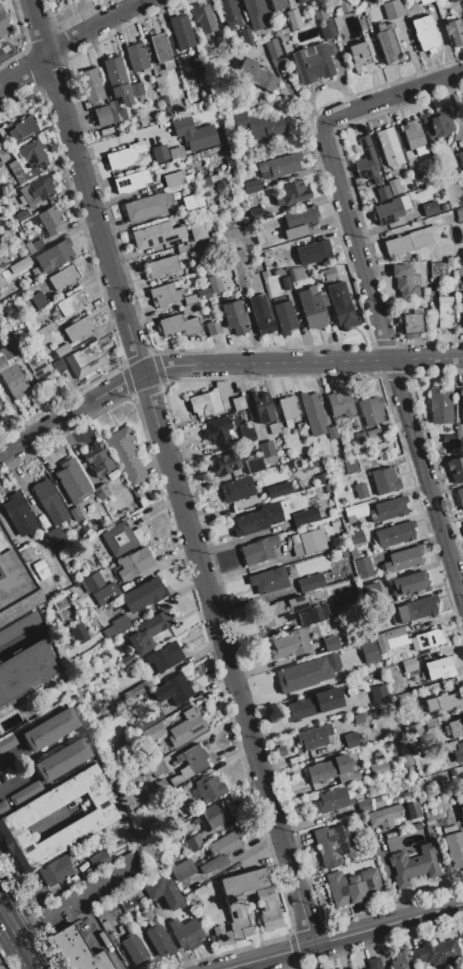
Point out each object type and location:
building: (57, 0)
building: (58, 0)
building: (322, 0)
building: (299, 1)
building: (424, 1)
building: (452, 1)
building: (367, 2)
building: (278, 4)
building: (291, 4)
building: (342, 6)
building: (392, 9)
building: (254, 13)
building: (229, 14)
building: (319, 14)
building: (202, 18)
building: (292, 18)
building: (268, 21)
building: (338, 22)
building: (3, 23)
building: (361, 24)
road: (96, 27)
building: (327, 30)
building: (453, 31)
building: (181, 32)
building: (425, 33)
building: (246, 36)
building: (0, 38)
building: (388, 43)
building: (160, 47)
building: (272, 47)
building: (286, 48)
building: (137, 57)
building: (360, 57)
building: (181, 61)
building: (313, 63)
building: (168, 64)
road: (24, 68)
building: (256, 75)
building: (117, 80)
building: (90, 85)
building: (160, 85)
building: (137, 89)
road: (394, 97)
building: (164, 99)
building: (263, 103)
building: (196, 106)
building: (116, 111)
building: (102, 115)
building: (437, 123)
building: (259, 125)
building: (23, 129)
building: (193, 134)
building: (414, 136)
building: (173, 143)
building: (389, 147)
building: (159, 153)
building: (2, 155)
building: (124, 155)
building: (32, 157)
building: (460, 157)
building: (367, 162)
building: (229, 164)
building: (279, 165)
building: (14, 167)
building: (418, 175)
building: (174, 178)
building: (130, 181)
building: (205, 182)
building: (252, 186)
building: (394, 186)
building: (222, 187)
building: (35, 190)
building: (290, 192)
building: (382, 192)
building: (193, 202)
building: (146, 206)
building: (429, 208)
building: (390, 209)
building: (255, 214)
building: (459, 214)
building: (19, 216)
building: (300, 217)
building: (50, 220)
building: (18, 228)
building: (198, 232)
building: (295, 232)
building: (152, 235)
building: (185, 235)
building: (423, 237)
building: (36, 243)
building: (200, 245)
building: (398, 245)
building: (28, 247)
building: (182, 249)
building: (314, 252)
building: (266, 253)
building: (54, 255)
building: (236, 256)
building: (2, 264)
building: (19, 265)
building: (162, 266)
building: (459, 269)
building: (438, 270)
building: (298, 273)
building: (328, 273)
building: (292, 275)
building: (63, 277)
building: (405, 282)
building: (214, 283)
building: (285, 283)
building: (312, 289)
building: (425, 291)
building: (165, 294)
building: (425, 298)
building: (190, 299)
building: (324, 299)
building: (38, 300)
building: (70, 303)
building: (341, 305)
building: (462, 306)
building: (311, 308)
building: (186, 309)
building: (444, 312)
building: (261, 314)
building: (233, 317)
building: (284, 317)
building: (412, 320)
building: (178, 325)
building: (213, 327)
building: (78, 329)
building: (45, 330)
building: (13, 344)
building: (59, 351)
building: (86, 359)
road: (392, 361)
building: (58, 365)
road: (220, 365)
building: (39, 370)
building: (11, 374)
building: (460, 392)
building: (0, 402)
building: (208, 402)
building: (238, 403)
building: (339, 404)
building: (462, 404)
building: (439, 405)
building: (0, 407)
building: (262, 407)
building: (288, 408)
building: (371, 410)
building: (313, 413)
building: (274, 428)
building: (216, 429)
building: (373, 432)
building: (332, 433)
building: (246, 434)
building: (361, 438)
building: (447, 438)
building: (266, 449)
building: (126, 455)
building: (98, 459)
building: (225, 463)
building: (254, 464)
building: (351, 466)
building: (456, 469)
road: (172, 472)
building: (321, 478)
building: (72, 480)
building: (385, 480)
building: (237, 489)
building: (327, 489)
building: (279, 490)
building: (360, 490)
building: (101, 491)
building: (138, 496)
building: (460, 496)
building: (50, 502)
building: (388, 509)
building: (355, 512)
building: (19, 514)
building: (75, 515)
building: (305, 516)
building: (261, 518)
building: (335, 522)
building: (462, 523)
building: (395, 534)
building: (56, 536)
building: (122, 538)
building: (90, 540)
building: (308, 542)
building: (354, 542)
building: (60, 547)
building: (259, 550)
building: (25, 552)
building: (403, 559)
building: (134, 563)
building: (40, 566)
building: (363, 569)
building: (8, 572)
road: (26, 575)
building: (268, 580)
building: (311, 583)
building: (409, 583)
building: (368, 587)
building: (99, 588)
building: (143, 594)
building: (20, 607)
building: (386, 608)
building: (417, 609)
building: (281, 611)
building: (313, 615)
building: (18, 626)
building: (116, 626)
building: (148, 631)
building: (80, 634)
building: (390, 638)
building: (429, 639)
building: (290, 644)
building: (331, 644)
building: (368, 652)
building: (95, 654)
building: (165, 656)
building: (127, 659)
building: (409, 665)
building: (439, 668)
building: (25, 671)
building: (294, 675)
building: (141, 688)
building: (173, 690)
building: (379, 693)
building: (444, 702)
building: (314, 704)
building: (147, 719)
building: (428, 723)
building: (187, 728)
building: (454, 728)
building: (49, 729)
building: (153, 732)
building: (316, 737)
building: (351, 740)
building: (7, 742)
building: (390, 749)
building: (458, 752)
building: (62, 760)
building: (189, 763)
building: (161, 766)
building: (382, 766)
building: (332, 769)
road: (28, 770)
building: (162, 786)
building: (209, 788)
building: (26, 793)
building: (175, 795)
building: (334, 800)
building: (373, 802)
building: (3, 807)
building: (462, 810)
building: (392, 814)
building: (212, 816)
building: (20, 818)
building: (427, 823)
building: (449, 830)
building: (194, 842)
building: (335, 843)
building: (393, 844)
building: (455, 849)
building: (221, 850)
building: (99, 860)
building: (414, 865)
building: (56, 870)
building: (183, 870)
building: (353, 886)
building: (164, 893)
road: (73, 895)
building: (235, 906)
road: (8, 918)
road: (99, 931)
building: (186, 933)
building: (462, 935)
road: (345, 936)
building: (158, 937)
road: (27, 949)
building: (134, 949)
building: (78, 951)
building: (436, 952)
building: (401, 960)
building: (3, 961)
building: (374, 963)
road: (37, 966)

